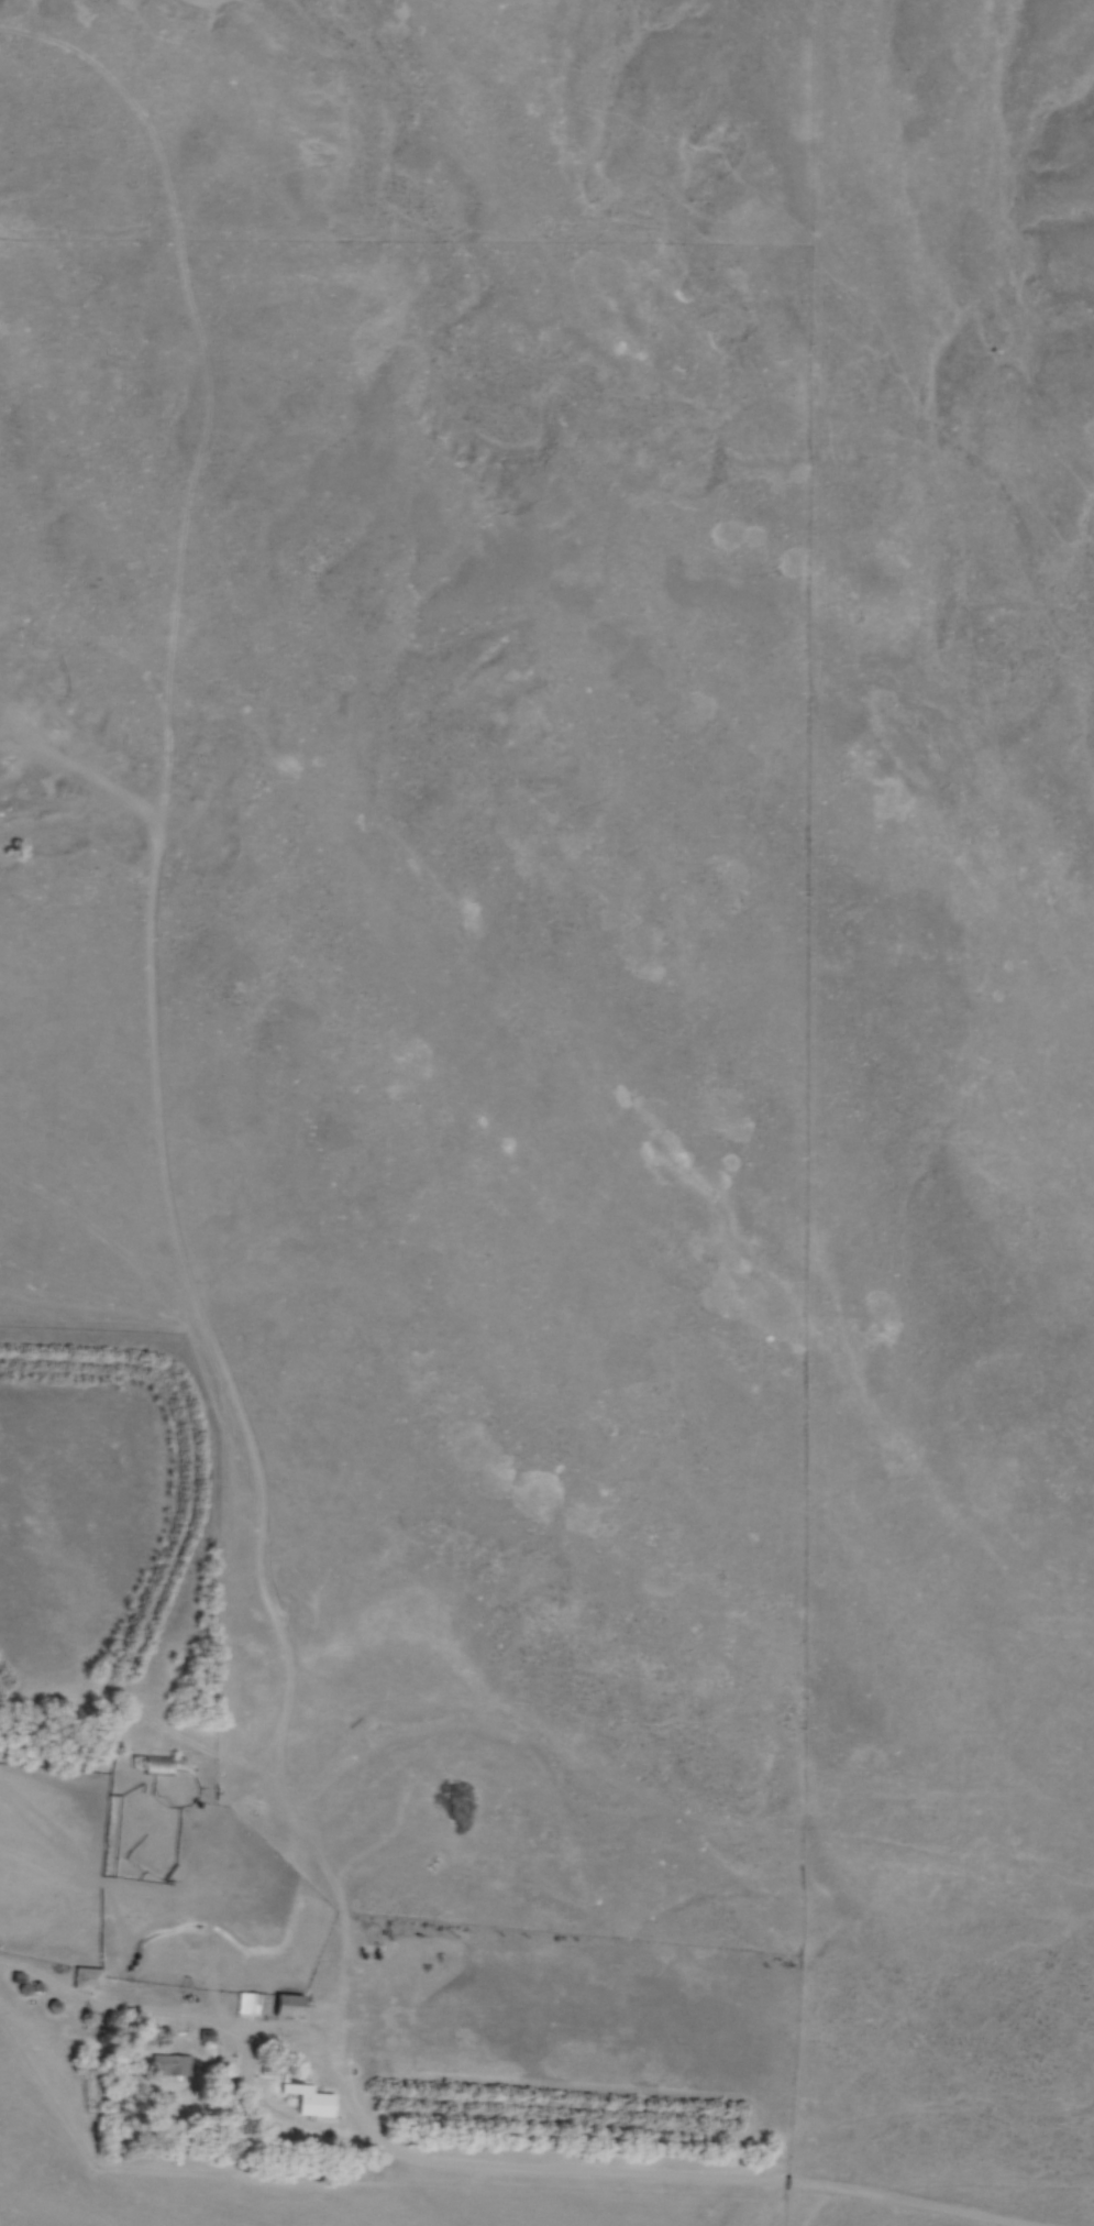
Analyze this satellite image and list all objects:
building: (162, 1763)
building: (18, 1974)
building: (84, 1975)
silo: (38, 1986)
silo: (23, 1987)
building: (252, 2002)
building: (287, 2003)
silo: (53, 2005)
building: (162, 2063)
building: (306, 2091)
road: (289, 2116)
road: (490, 2164)

